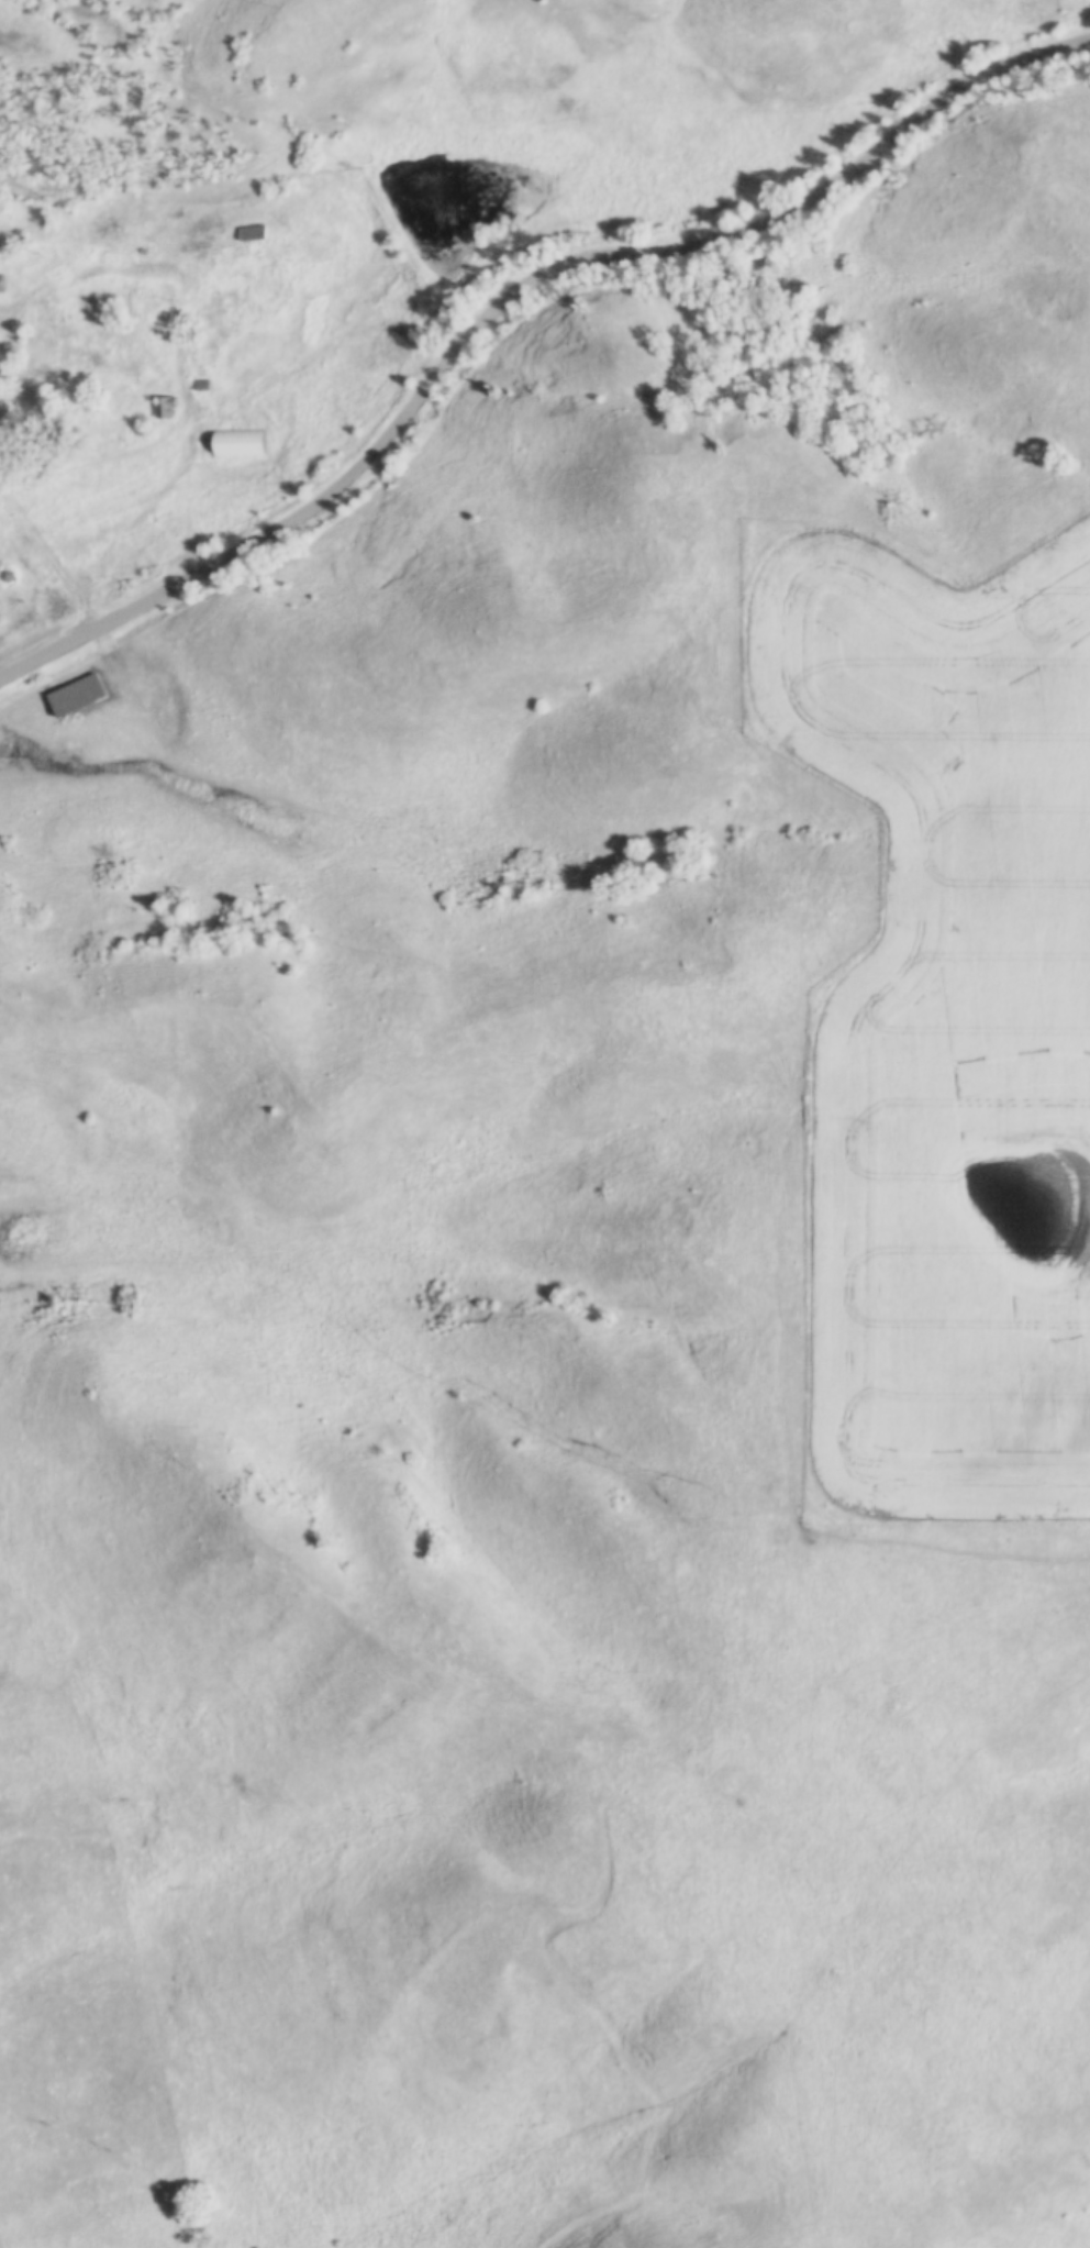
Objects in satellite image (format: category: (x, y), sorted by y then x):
building: (248, 232)
building: (102, 235)
building: (1, 281)
road: (513, 303)
building: (107, 309)
building: (199, 384)
building: (158, 407)
building: (242, 443)
building: (8, 575)
silo: (8, 575)
building: (71, 695)

